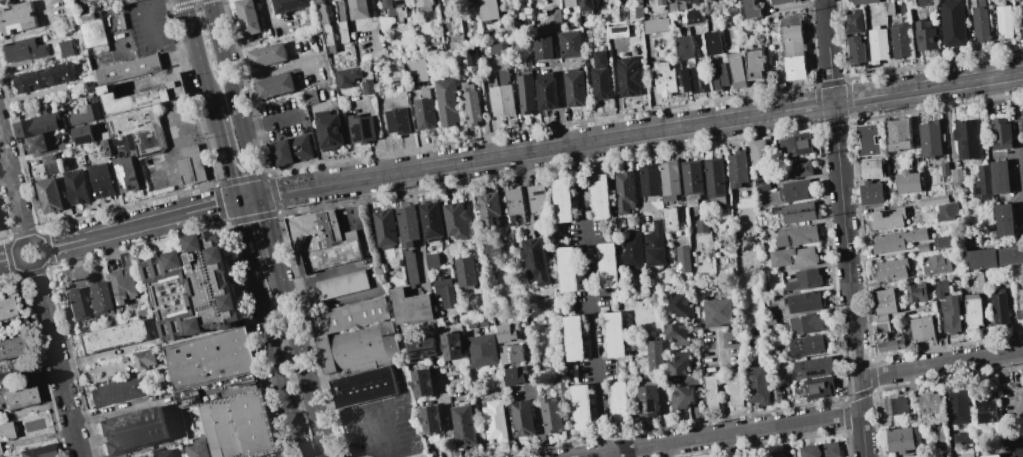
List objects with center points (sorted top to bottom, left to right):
building: (679, 0)
building: (968, 0)
building: (129, 1)
building: (660, 1)
building: (697, 1)
building: (779, 1)
building: (4, 2)
building: (422, 2)
building: (448, 2)
building: (568, 2)
building: (864, 2)
building: (925, 2)
building: (980, 3)
building: (288, 5)
building: (681, 5)
building: (586, 6)
building: (637, 7)
building: (672, 7)
building: (395, 8)
building: (890, 8)
building: (358, 9)
building: (749, 9)
building: (488, 10)
road: (145, 11)
building: (1021, 15)
building: (246, 16)
building: (693, 16)
building: (16, 18)
building: (553, 19)
building: (341, 20)
building: (1004, 21)
building: (854, 23)
building: (954, 23)
building: (656, 25)
building: (982, 25)
building: (325, 26)
parking lot: (149, 27)
building: (617, 31)
building: (93, 33)
building: (926, 35)
building: (901, 39)
building: (713, 42)
building: (569, 44)
building: (879, 46)
building: (684, 47)
building: (65, 48)
building: (498, 48)
building: (542, 48)
building: (792, 48)
building: (23, 50)
road: (827, 51)
building: (856, 51)
road: (198, 54)
building: (267, 56)
building: (470, 59)
building: (754, 63)
road: (275, 68)
building: (418, 68)
building: (126, 69)
building: (737, 69)
building: (718, 75)
building: (601, 76)
building: (45, 77)
building: (346, 77)
building: (629, 77)
building: (664, 78)
building: (690, 80)
building: (274, 85)
building: (366, 87)
building: (574, 87)
road: (233, 88)
road: (617, 89)
building: (546, 91)
building: (501, 94)
building: (525, 94)
building: (142, 95)
building: (310, 97)
building: (447, 100)
building: (469, 104)
road: (562, 107)
building: (93, 109)
building: (424, 114)
building: (1022, 115)
building: (77, 118)
parking lot: (282, 120)
building: (397, 120)
road: (269, 123)
building: (39, 125)
building: (138, 129)
building: (360, 129)
building: (329, 130)
building: (1000, 133)
building: (82, 134)
building: (898, 134)
building: (103, 135)
building: (930, 138)
building: (966, 139)
building: (868, 140)
building: (123, 142)
building: (35, 144)
building: (795, 145)
building: (104, 149)
road: (1016, 149)
building: (291, 150)
building: (758, 151)
road: (531, 152)
building: (77, 155)
road: (224, 156)
building: (48, 159)
building: (191, 165)
building: (51, 168)
building: (737, 168)
building: (798, 169)
building: (870, 169)
building: (944, 169)
building: (125, 173)
building: (999, 177)
building: (100, 180)
building: (649, 180)
building: (669, 180)
building: (955, 180)
building: (691, 181)
building: (714, 181)
building: (908, 182)
building: (981, 184)
building: (75, 187)
road: (258, 187)
road: (12, 188)
building: (795, 190)
building: (624, 192)
building: (870, 193)
building: (48, 196)
building: (601, 197)
traffic signals: (261, 198)
building: (536, 198)
building: (563, 200)
building: (932, 200)
traffic signals: (237, 203)
building: (514, 203)
building: (489, 208)
building: (945, 211)
building: (797, 212)
building: (886, 218)
building: (670, 219)
building: (1003, 219)
building: (430, 220)
building: (455, 220)
building: (406, 225)
building: (701, 226)
building: (384, 229)
building: (313, 232)
road: (270, 234)
building: (796, 235)
road: (30, 239)
building: (897, 239)
building: (941, 241)
building: (654, 245)
building: (922, 247)
rooftop solar panel: (529, 249)
building: (493, 250)
building: (632, 250)
building: (1010, 255)
building: (328, 256)
rooftop solar panel: (532, 257)
rooftop solar panel: (542, 257)
building: (794, 257)
building: (682, 258)
building: (980, 258)
road: (8, 259)
building: (432, 260)
building: (536, 260)
building: (935, 265)
building: (608, 266)
building: (410, 268)
building: (568, 269)
building: (891, 269)
building: (465, 271)
road: (848, 279)
building: (804, 280)
building: (979, 281)
building: (122, 284)
building: (341, 285)
building: (192, 288)
building: (940, 288)
building: (444, 292)
building: (916, 292)
building: (101, 298)
road: (590, 300)
building: (804, 301)
building: (883, 301)
building: (680, 305)
building: (76, 306)
building: (410, 306)
building: (1020, 306)
building: (999, 308)
building: (7, 309)
building: (717, 312)
building: (769, 313)
building: (972, 313)
building: (950, 314)
road: (266, 315)
building: (349, 316)
building: (769, 321)
building: (806, 324)
building: (483, 326)
building: (472, 328)
building: (882, 328)
building: (921, 328)
building: (507, 332)
building: (615, 335)
building: (676, 335)
building: (111, 337)
building: (574, 338)
building: (634, 343)
building: (890, 344)
building: (807, 345)
building: (451, 346)
building: (11, 347)
building: (422, 348)
building: (358, 349)
rooftop solar panel: (422, 350)
rooftop solar panel: (433, 351)
building: (481, 351)
building: (512, 354)
building: (654, 356)
road: (1022, 356)
building: (143, 358)
building: (211, 359)
road: (56, 361)
building: (679, 362)
road: (940, 363)
road: (302, 364)
building: (815, 367)
building: (515, 375)
building: (422, 382)
road: (723, 385)
building: (758, 385)
building: (362, 386)
building: (818, 387)
building: (559, 390)
building: (736, 390)
building: (116, 392)
building: (711, 393)
building: (19, 397)
building: (776, 397)
building: (681, 398)
building: (646, 400)
building: (929, 402)
building: (619, 404)
building: (896, 406)
building: (958, 406)
building: (581, 407)
building: (986, 408)
building: (550, 416)
building: (522, 418)
building: (430, 419)
building: (494, 421)
building: (463, 424)
building: (239, 425)
building: (6, 430)
building: (130, 430)
road: (373, 431)
road: (723, 434)
building: (962, 438)
building: (904, 439)
road: (298, 443)
building: (1014, 447)
building: (196, 448)
road: (351, 450)
road: (667, 450)
building: (820, 450)
building: (36, 451)
building: (165, 453)
road: (604, 455)
building: (779, 455)
building: (966, 455)
building: (0, 456)
building: (150, 456)
building: (992, 456)

